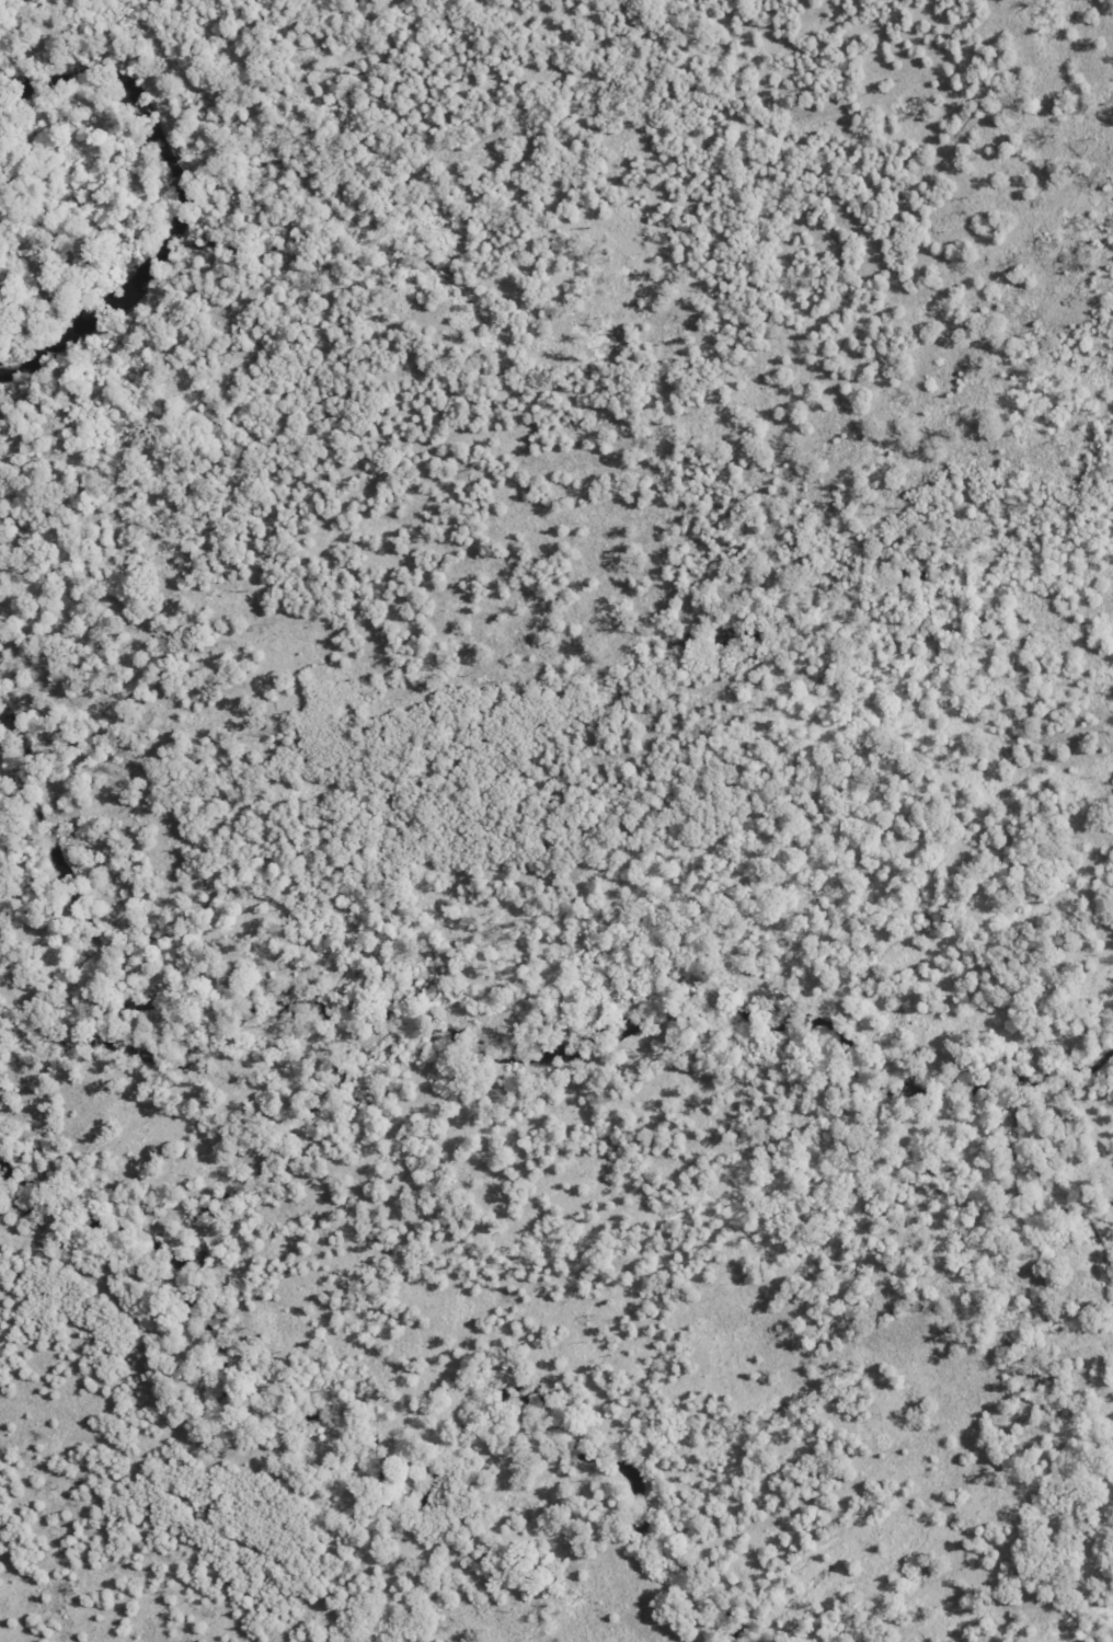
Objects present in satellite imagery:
road: (691, 1507)

